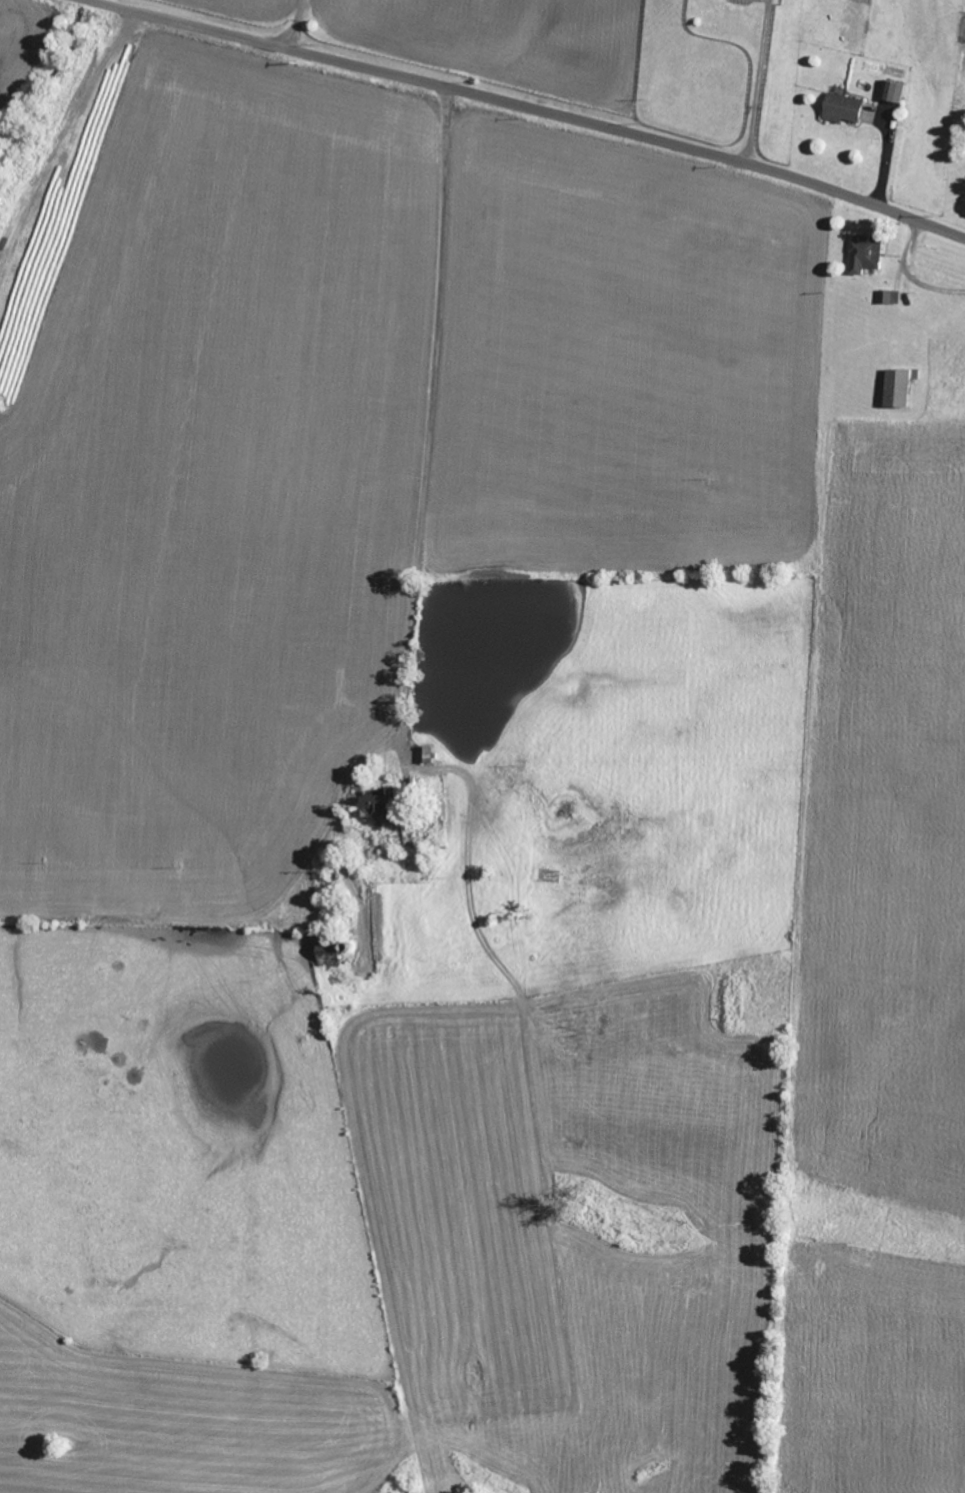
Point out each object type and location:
road: (295, 23)
road: (760, 81)
building: (899, 92)
road: (535, 106)
building: (849, 110)
building: (871, 255)
road: (910, 274)
building: (893, 298)
building: (895, 388)
road: (431, 404)
building: (374, 804)

